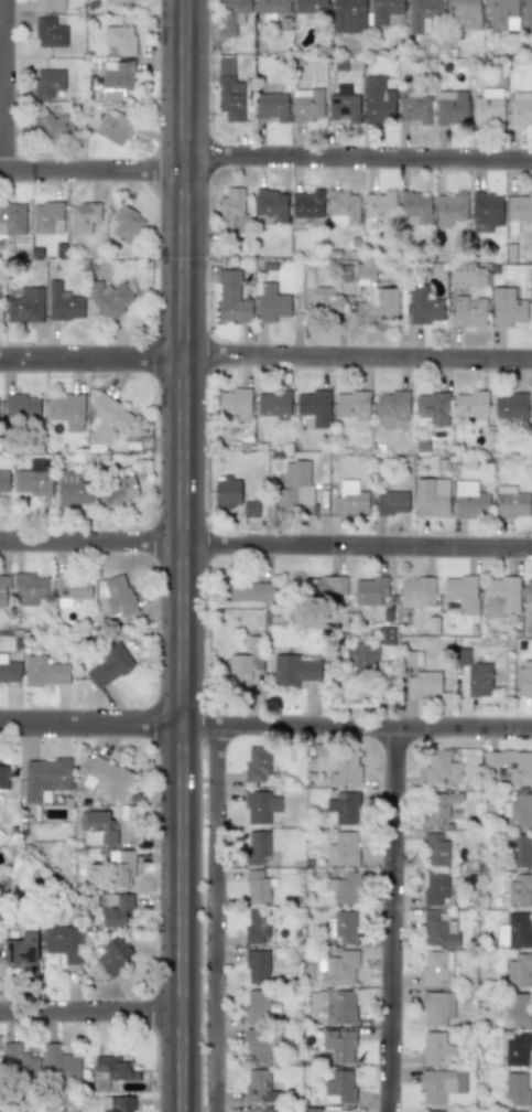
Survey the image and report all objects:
building: (119, 1)
building: (50, 6)
building: (272, 7)
building: (311, 7)
building: (384, 10)
building: (501, 12)
building: (422, 13)
building: (463, 14)
building: (528, 14)
building: (229, 15)
building: (349, 15)
building: (50, 32)
building: (120, 39)
building: (118, 75)
building: (47, 82)
road: (6, 87)
building: (229, 97)
building: (377, 100)
building: (343, 105)
building: (271, 106)
building: (306, 106)
building: (415, 108)
building: (452, 109)
building: (487, 109)
building: (520, 111)
building: (52, 124)
building: (113, 126)
road: (359, 156)
road: (93, 175)
building: (271, 204)
building: (308, 204)
building: (344, 205)
building: (380, 205)
building: (415, 206)
building: (520, 207)
building: (450, 209)
building: (230, 212)
building: (486, 212)
building: (84, 216)
building: (46, 217)
building: (12, 218)
building: (126, 223)
building: (365, 272)
building: (468, 276)
building: (111, 297)
building: (231, 298)
building: (324, 299)
building: (388, 301)
building: (271, 302)
building: (64, 303)
building: (25, 306)
building: (424, 306)
building: (508, 307)
building: (0, 309)
building: (468, 310)
road: (265, 362)
building: (236, 403)
building: (273, 404)
building: (352, 404)
building: (392, 404)
building: (471, 406)
building: (510, 406)
building: (21, 407)
building: (315, 407)
building: (432, 407)
building: (67, 410)
building: (107, 419)
building: (33, 479)
building: (3, 481)
building: (119, 487)
building: (293, 487)
building: (73, 490)
building: (227, 491)
building: (431, 496)
building: (350, 499)
building: (470, 501)
building: (511, 502)
building: (391, 503)
building: (250, 509)
road: (265, 546)
road: (184, 555)
building: (31, 587)
building: (326, 588)
building: (72, 590)
building: (248, 590)
building: (529, 590)
building: (3, 591)
building: (371, 591)
building: (416, 591)
building: (459, 595)
building: (501, 596)
building: (113, 597)
building: (363, 655)
building: (411, 657)
building: (246, 659)
building: (109, 665)
building: (294, 670)
building: (9, 671)
building: (44, 672)
building: (524, 677)
building: (478, 680)
building: (423, 683)
road: (265, 728)
building: (257, 764)
building: (510, 766)
building: (439, 767)
building: (345, 768)
building: (104, 776)
building: (45, 778)
building: (260, 805)
building: (438, 806)
building: (344, 808)
building: (518, 811)
building: (98, 828)
building: (257, 847)
building: (341, 848)
building: (436, 849)
building: (520, 851)
building: (121, 868)
building: (259, 885)
building: (341, 885)
building: (436, 888)
building: (519, 890)
building: (116, 909)
road: (215, 919)
road: (397, 921)
building: (256, 924)
building: (343, 927)
building: (438, 929)
building: (519, 931)
building: (63, 942)
building: (21, 952)
building: (0, 954)
building: (115, 955)
building: (257, 967)
building: (338, 969)
building: (436, 969)
building: (518, 970)
building: (256, 1005)
building: (332, 1006)
building: (436, 1007)
building: (514, 1011)
road: (93, 1014)
building: (338, 1042)
building: (257, 1045)
building: (434, 1047)
building: (515, 1049)
building: (18, 1060)
building: (58, 1063)
building: (113, 1069)
building: (441, 1084)
building: (258, 1086)
building: (339, 1087)
building: (517, 1088)
building: (117, 1103)
building: (251, 1110)
building: (269, 1110)
building: (336, 1110)
building: (431, 1111)
building: (512, 1111)

